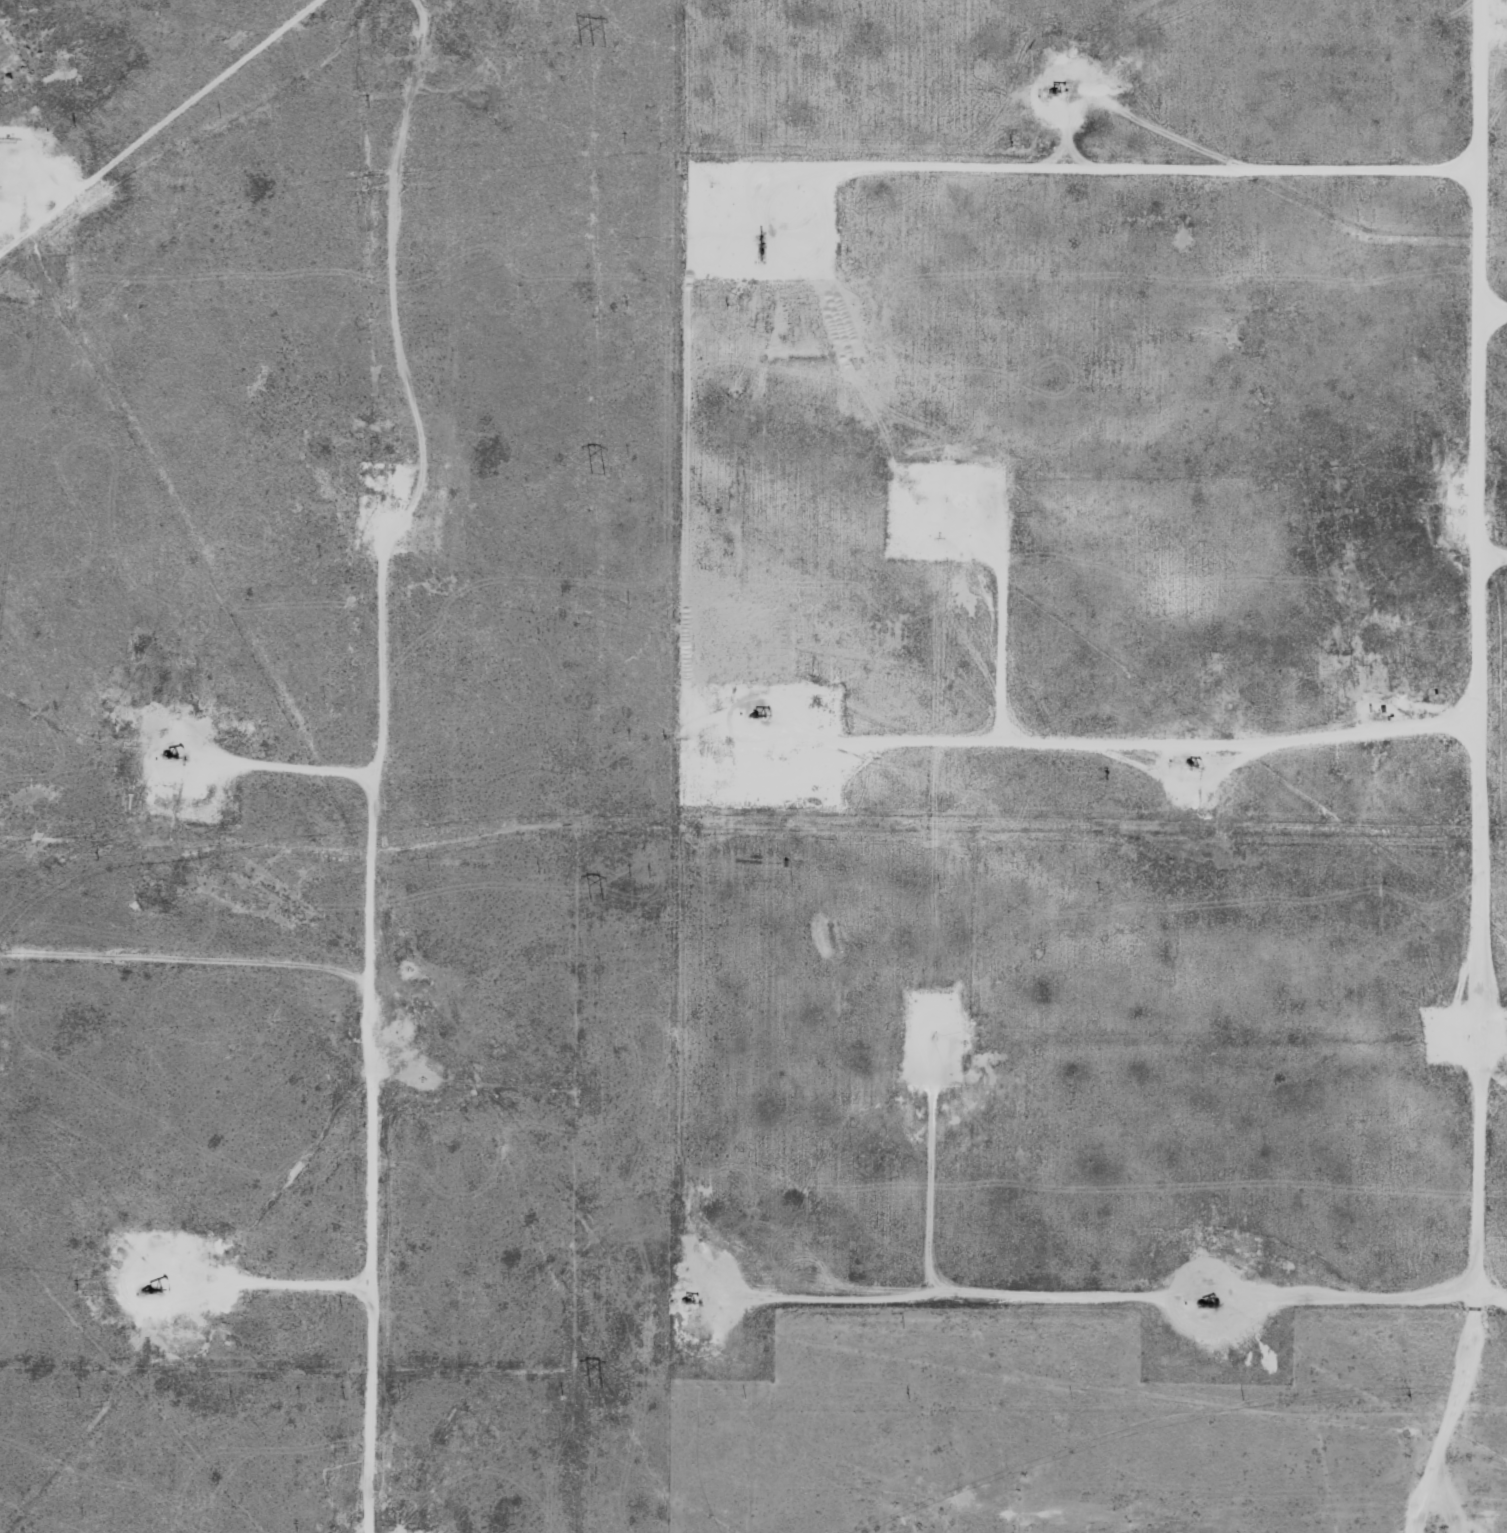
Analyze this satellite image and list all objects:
road: (1361, 31)
power tower: (595, 45)
road: (165, 131)
river: (512, 376)
road: (1254, 473)
power tower: (599, 474)
road: (1500, 578)
road: (1494, 770)
power tower: (597, 904)
road: (177, 979)
road: (368, 1026)
road: (1249, 1050)
power tower: (597, 1384)

